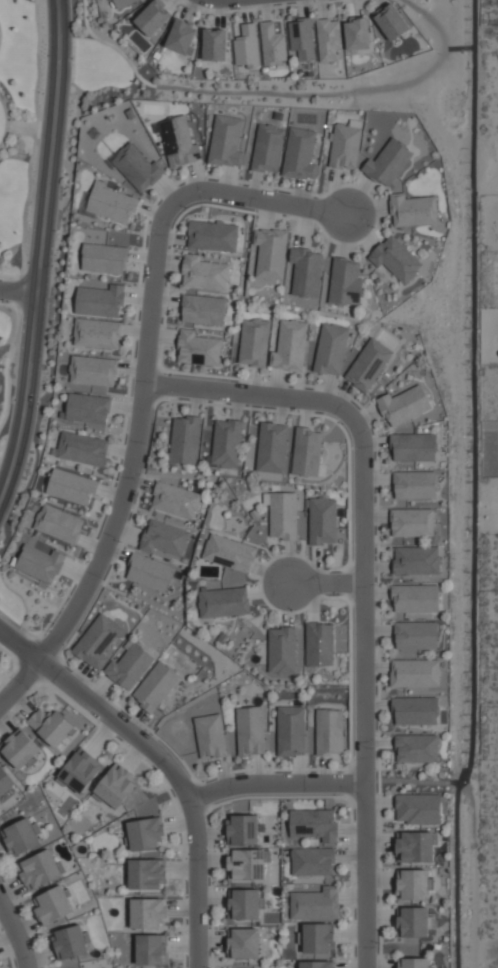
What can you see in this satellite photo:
building: (122, 3)
building: (152, 17)
building: (391, 22)
building: (357, 35)
building: (181, 37)
building: (301, 38)
building: (327, 39)
building: (272, 44)
building: (214, 45)
building: (246, 46)
street lamp: (44, 94)
park: (18, 126)
building: (225, 140)
building: (178, 142)
building: (344, 145)
building: (267, 148)
building: (299, 154)
building: (387, 163)
building: (135, 167)
building: (110, 203)
road: (172, 205)
street lamp: (186, 208)
building: (412, 210)
street lamp: (375, 227)
building: (212, 236)
road: (41, 252)
building: (270, 253)
building: (104, 258)
building: (395, 259)
building: (305, 272)
building: (203, 274)
building: (345, 282)
road: (18, 291)
building: (99, 299)
building: (202, 309)
building: (96, 333)
building: (253, 343)
building: (289, 346)
building: (198, 349)
building: (330, 349)
building: (368, 364)
building: (92, 370)
street lamp: (170, 375)
building: (404, 405)
building: (87, 408)
street lamp: (342, 424)
building: (185, 440)
building: (226, 444)
building: (414, 447)
building: (272, 448)
building: (82, 449)
building: (306, 452)
street lamp: (117, 479)
building: (414, 485)
building: (71, 487)
building: (175, 500)
building: (283, 514)
building: (322, 521)
building: (412, 522)
building: (58, 523)
building: (164, 538)
street lamp: (120, 542)
building: (228, 553)
road: (102, 557)
building: (416, 560)
building: (40, 563)
building: (149, 573)
road: (327, 584)
road: (365, 584)
street lamp: (339, 595)
building: (415, 598)
building: (223, 602)
street lamp: (53, 623)
building: (415, 635)
building: (96, 641)
building: (319, 644)
building: (281, 650)
building: (128, 667)
building: (414, 673)
building: (154, 686)
building: (415, 710)
building: (51, 727)
building: (250, 731)
building: (290, 731)
building: (329, 731)
building: (209, 736)
building: (417, 748)
building: (21, 751)
road: (163, 764)
building: (80, 771)
building: (5, 781)
street lamp: (208, 782)
road: (276, 783)
building: (116, 786)
building: (418, 808)
building: (313, 824)
building: (242, 829)
building: (145, 833)
building: (22, 836)
building: (415, 846)
building: (312, 861)
building: (246, 864)
building: (40, 869)
building: (146, 874)
building: (412, 884)
building: (314, 904)
building: (53, 905)
building: (147, 913)
building: (412, 922)
road: (17, 930)
building: (318, 938)
building: (71, 941)
building: (243, 943)
street lamp: (378, 943)
building: (151, 949)
building: (413, 963)
building: (317, 964)
street lamp: (210, 967)

